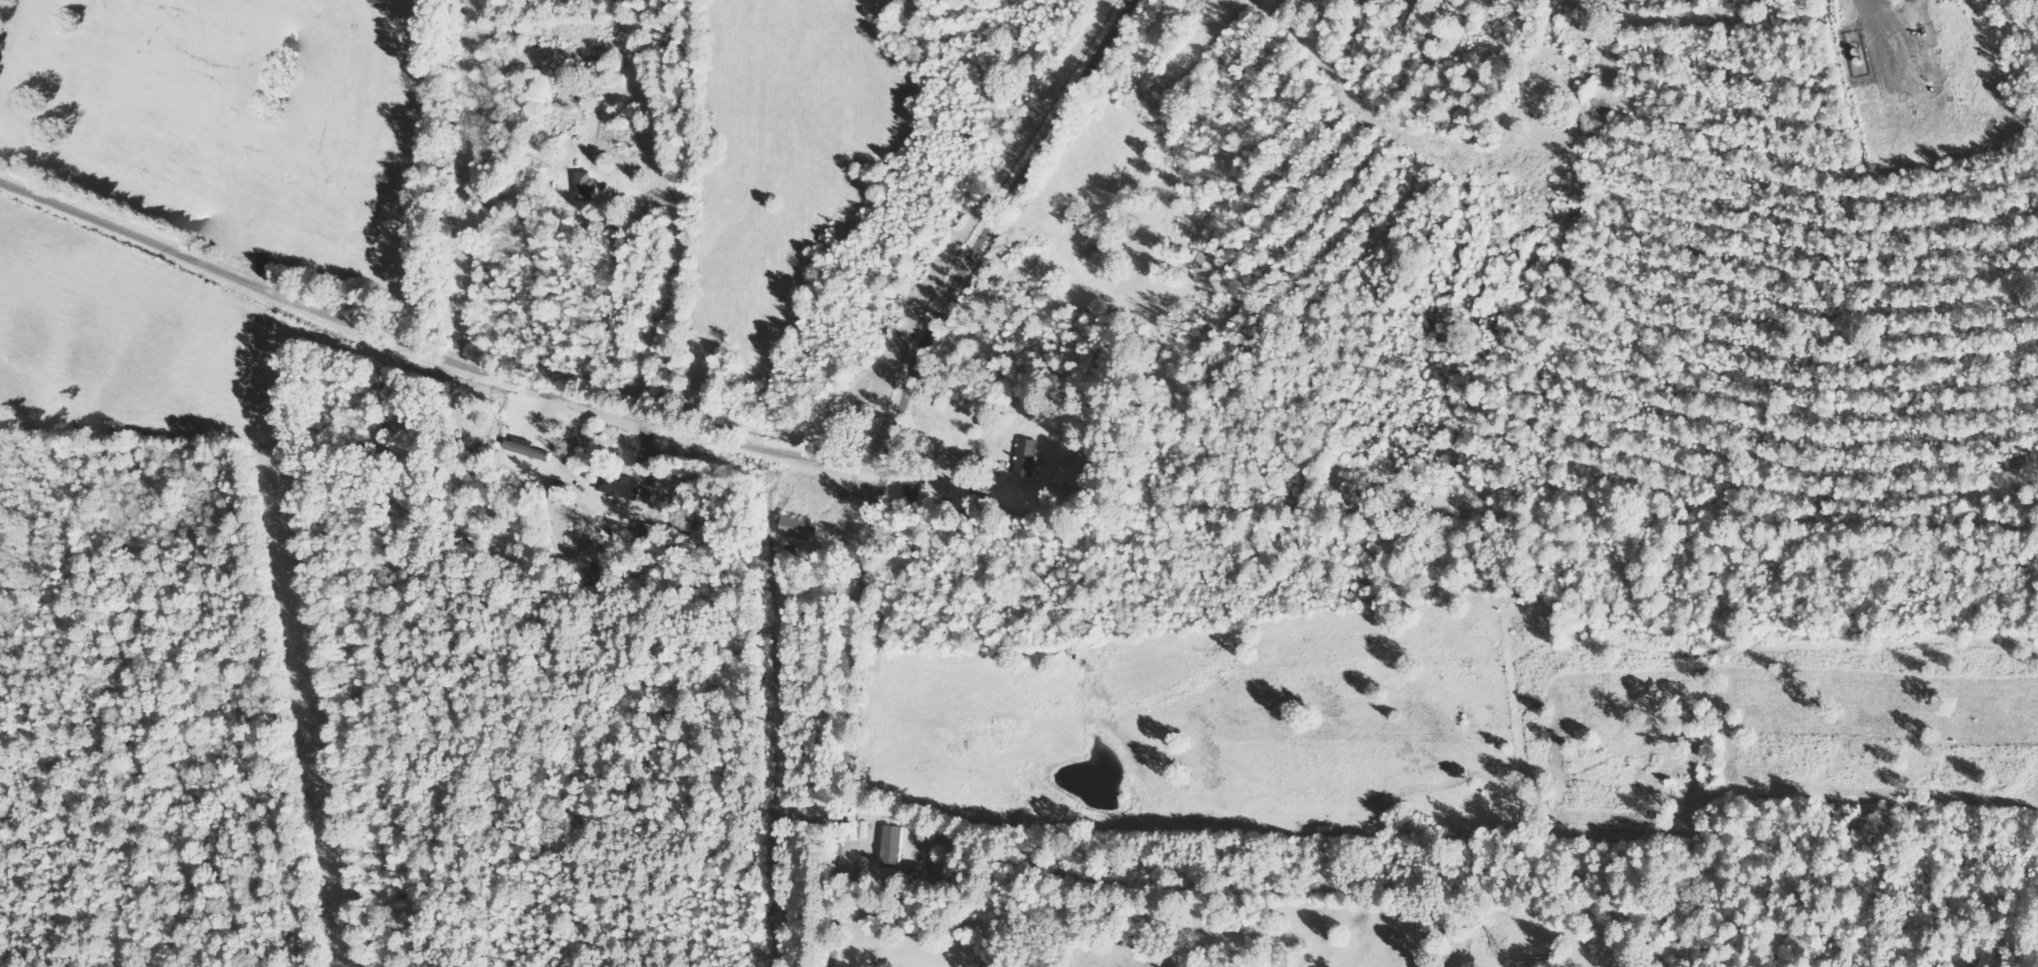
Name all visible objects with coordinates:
building: (591, 186)
road: (758, 225)
road: (424, 374)
road: (881, 447)
building: (526, 449)
building: (1027, 457)
building: (621, 485)
building: (796, 527)
building: (892, 846)

